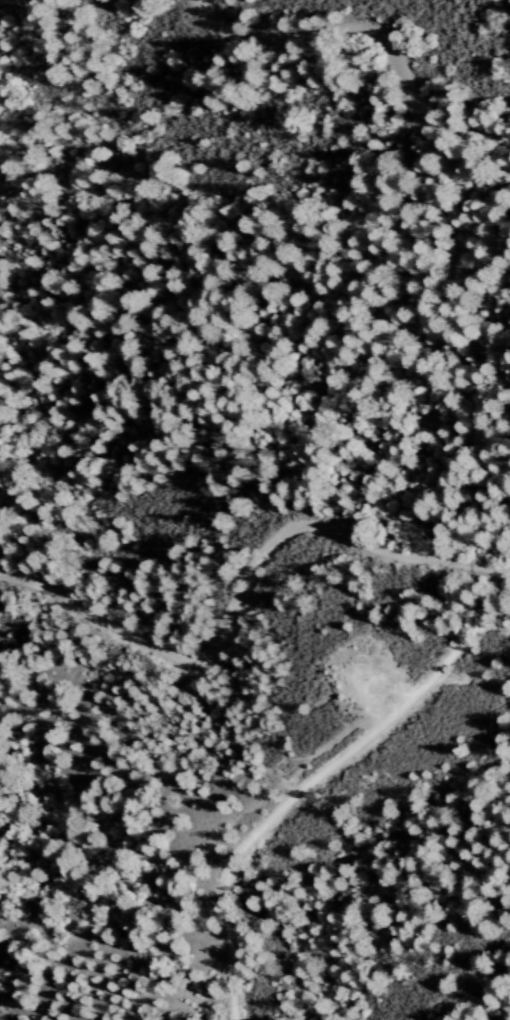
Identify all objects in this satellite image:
road: (366, 38)
park: (421, 43)
park: (272, 265)
road: (238, 583)
park: (498, 705)
road: (309, 780)

